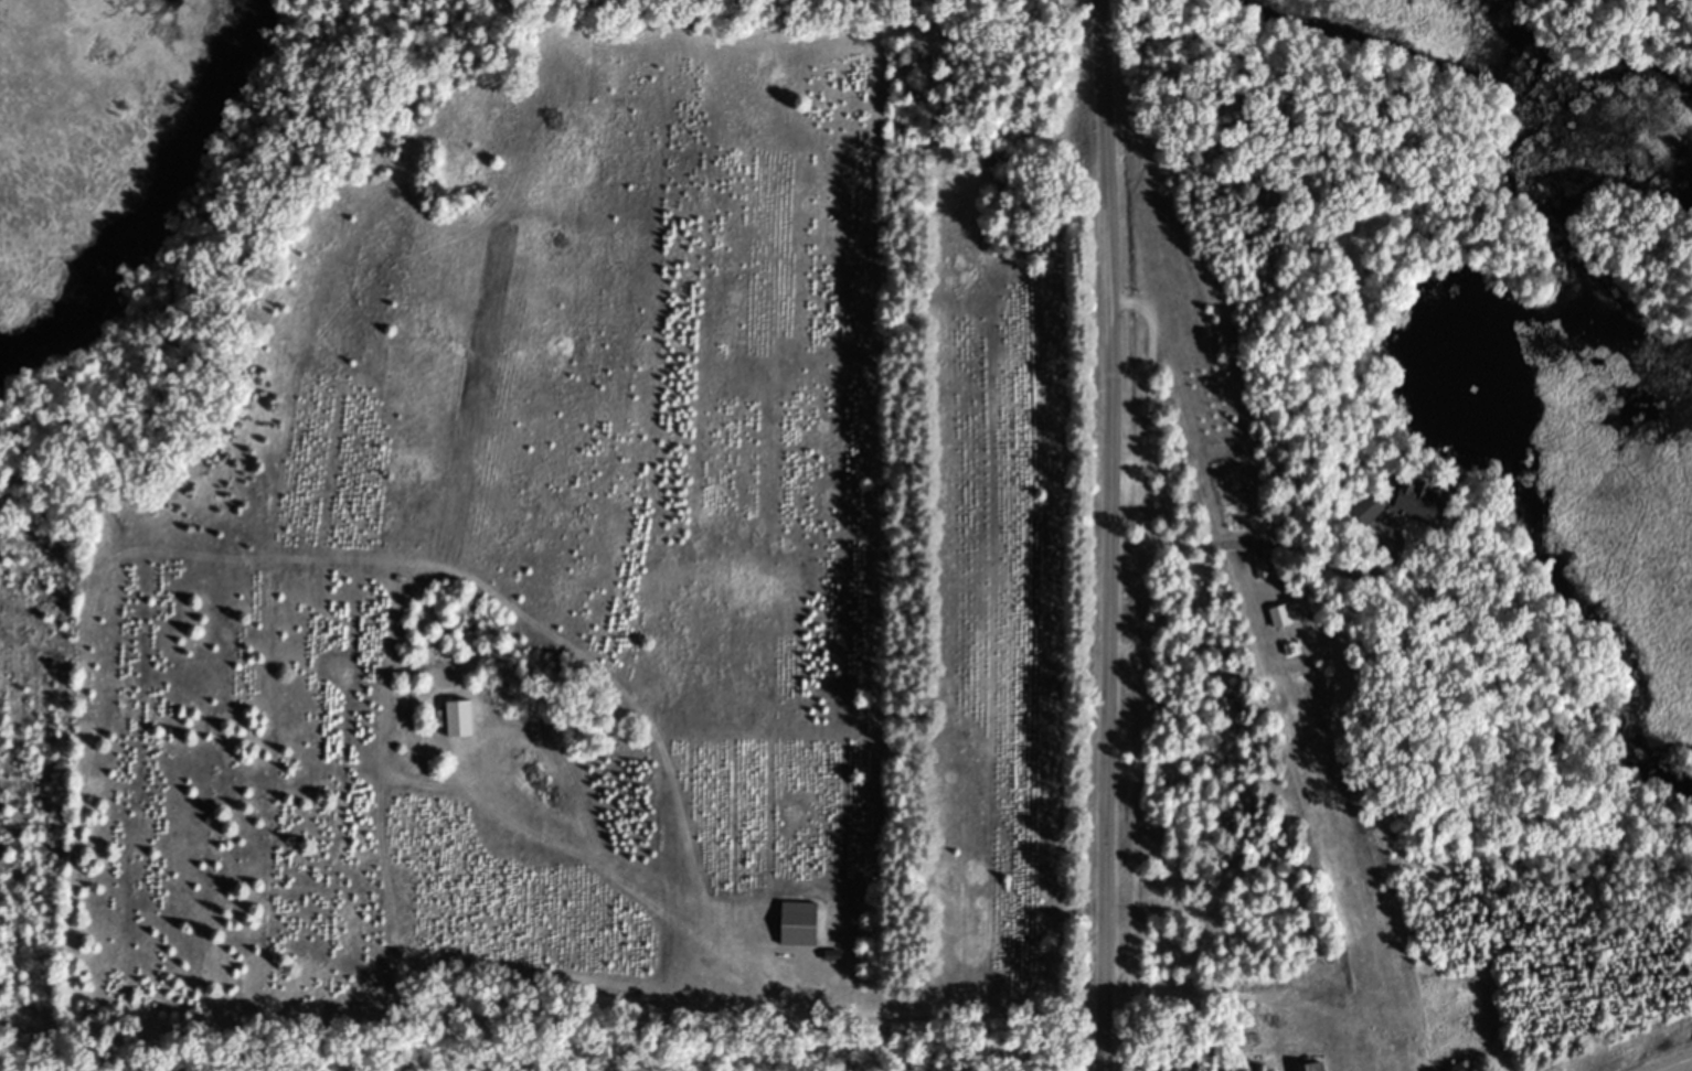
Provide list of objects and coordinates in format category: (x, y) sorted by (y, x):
building: (1405, 501)
road: (1108, 535)
road: (1174, 537)
building: (458, 718)
building: (798, 922)
road: (929, 1013)
road: (1677, 1064)
building: (1310, 1067)

